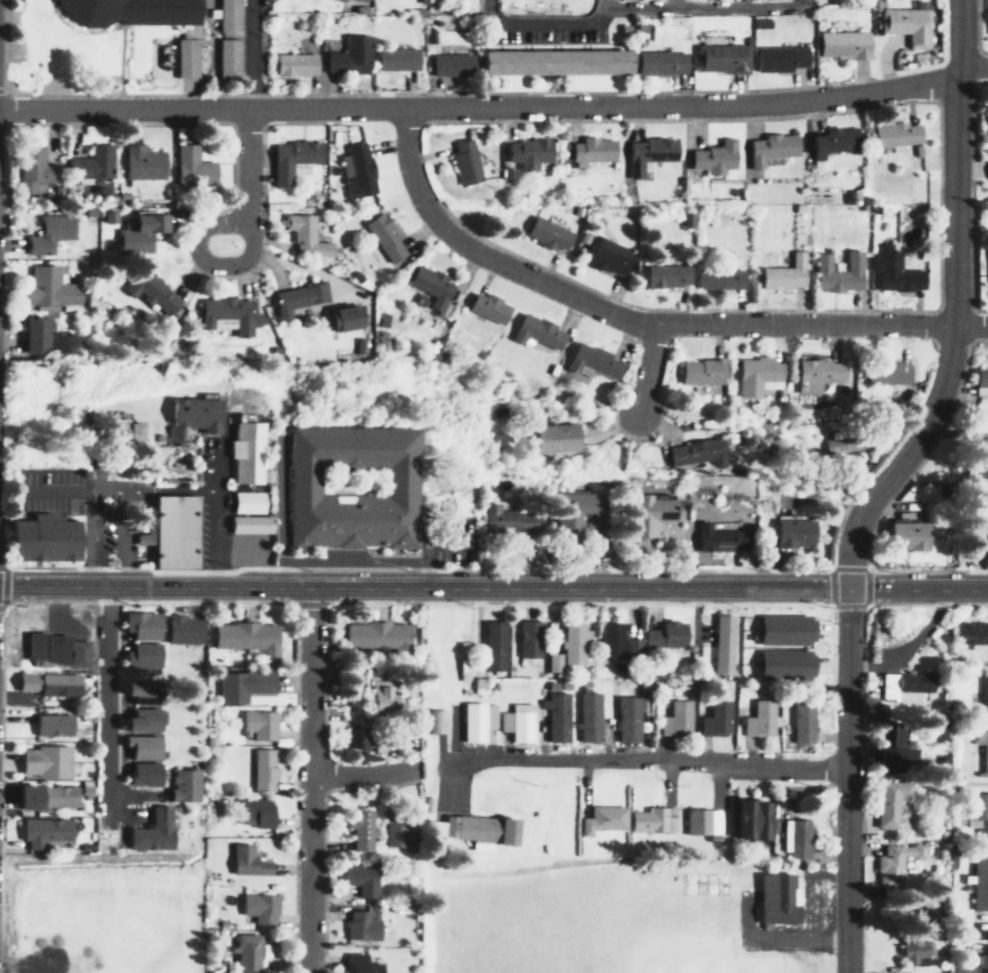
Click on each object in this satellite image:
building: (341, 0)
building: (127, 12)
building: (224, 15)
building: (987, 17)
road: (542, 22)
building: (904, 25)
building: (840, 45)
road: (249, 54)
building: (346, 56)
building: (183, 58)
building: (225, 58)
building: (719, 58)
building: (782, 58)
building: (393, 59)
road: (121, 60)
building: (550, 62)
building: (659, 62)
building: (291, 64)
building: (448, 64)
road: (2, 90)
road: (97, 95)
road: (497, 106)
building: (987, 122)
building: (893, 134)
building: (830, 141)
building: (767, 148)
building: (587, 150)
building: (525, 152)
building: (644, 153)
building: (711, 157)
building: (290, 160)
building: (462, 161)
building: (140, 162)
building: (91, 164)
building: (33, 165)
building: (190, 167)
building: (987, 170)
building: (357, 171)
building: (298, 230)
building: (48, 232)
building: (136, 234)
building: (544, 234)
building: (382, 237)
road: (248, 246)
building: (601, 255)
building: (987, 268)
building: (892, 271)
building: (835, 273)
building: (781, 274)
building: (663, 275)
building: (716, 278)
building: (428, 288)
building: (47, 289)
building: (150, 291)
building: (296, 297)
building: (484, 308)
building: (228, 314)
building: (342, 318)
road: (638, 323)
building: (533, 332)
building: (36, 335)
road: (774, 343)
building: (760, 357)
building: (589, 362)
road: (642, 371)
building: (700, 373)
building: (814, 373)
building: (882, 373)
building: (754, 374)
building: (979, 380)
building: (769, 384)
building: (187, 416)
building: (117, 430)
building: (550, 437)
building: (987, 442)
building: (843, 444)
building: (241, 448)
building: (691, 454)
road: (880, 480)
building: (350, 487)
road: (161, 488)
building: (246, 504)
building: (645, 508)
building: (569, 512)
building: (508, 521)
building: (247, 524)
building: (173, 530)
building: (785, 534)
building: (899, 535)
road: (92, 536)
road: (129, 536)
building: (974, 537)
building: (41, 538)
building: (715, 541)
road: (422, 584)
road: (916, 585)
building: (143, 624)
building: (182, 629)
building: (784, 629)
building: (663, 634)
building: (969, 634)
building: (375, 635)
building: (244, 637)
building: (526, 639)
building: (607, 640)
building: (571, 642)
building: (633, 644)
building: (717, 644)
building: (491, 645)
building: (54, 649)
building: (142, 655)
building: (555, 662)
building: (769, 662)
building: (426, 665)
building: (461, 666)
building: (251, 682)
building: (45, 683)
building: (901, 684)
building: (142, 690)
building: (979, 697)
building: (379, 698)
road: (109, 700)
building: (555, 712)
building: (586, 717)
building: (754, 717)
building: (674, 718)
building: (624, 719)
building: (712, 719)
building: (141, 720)
building: (434, 721)
building: (474, 721)
building: (516, 723)
building: (798, 723)
building: (51, 724)
building: (257, 725)
building: (939, 729)
building: (356, 738)
building: (140, 747)
building: (889, 748)
building: (980, 751)
road: (644, 758)
building: (42, 761)
building: (263, 770)
road: (357, 771)
building: (140, 774)
road: (311, 778)
building: (181, 785)
building: (40, 797)
building: (886, 803)
building: (256, 810)
building: (975, 811)
building: (599, 819)
building: (750, 819)
building: (649, 820)
building: (700, 822)
building: (471, 829)
building: (153, 830)
building: (358, 830)
building: (43, 833)
building: (398, 835)
building: (791, 840)
building: (246, 860)
building: (891, 865)
building: (358, 879)
building: (979, 882)
building: (774, 898)
building: (259, 907)
building: (360, 925)
building: (916, 950)
building: (246, 953)
building: (979, 957)
building: (360, 964)
building: (958, 970)

